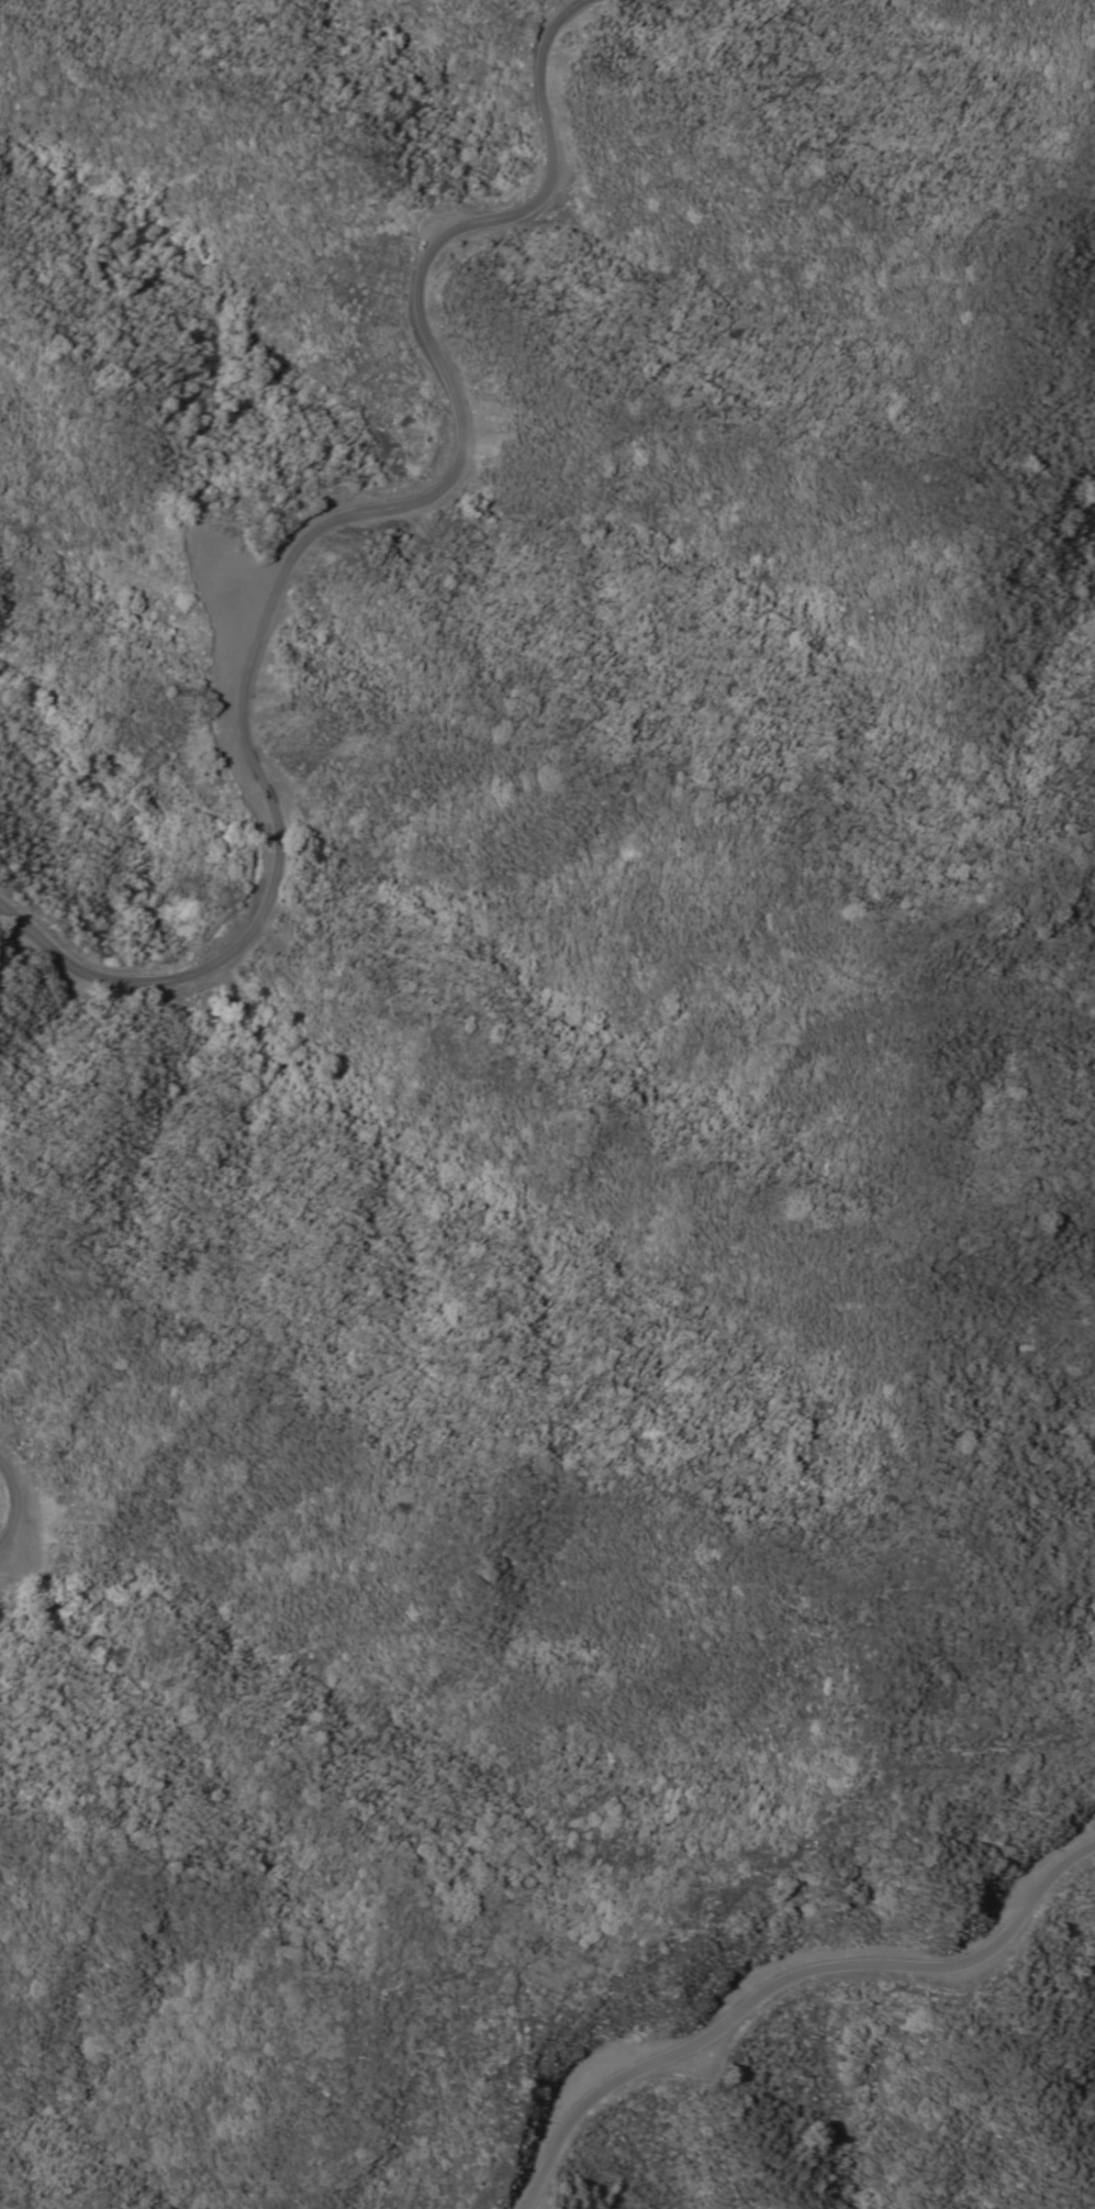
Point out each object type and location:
road: (316, 531)
road: (13, 1502)
road: (784, 1982)

